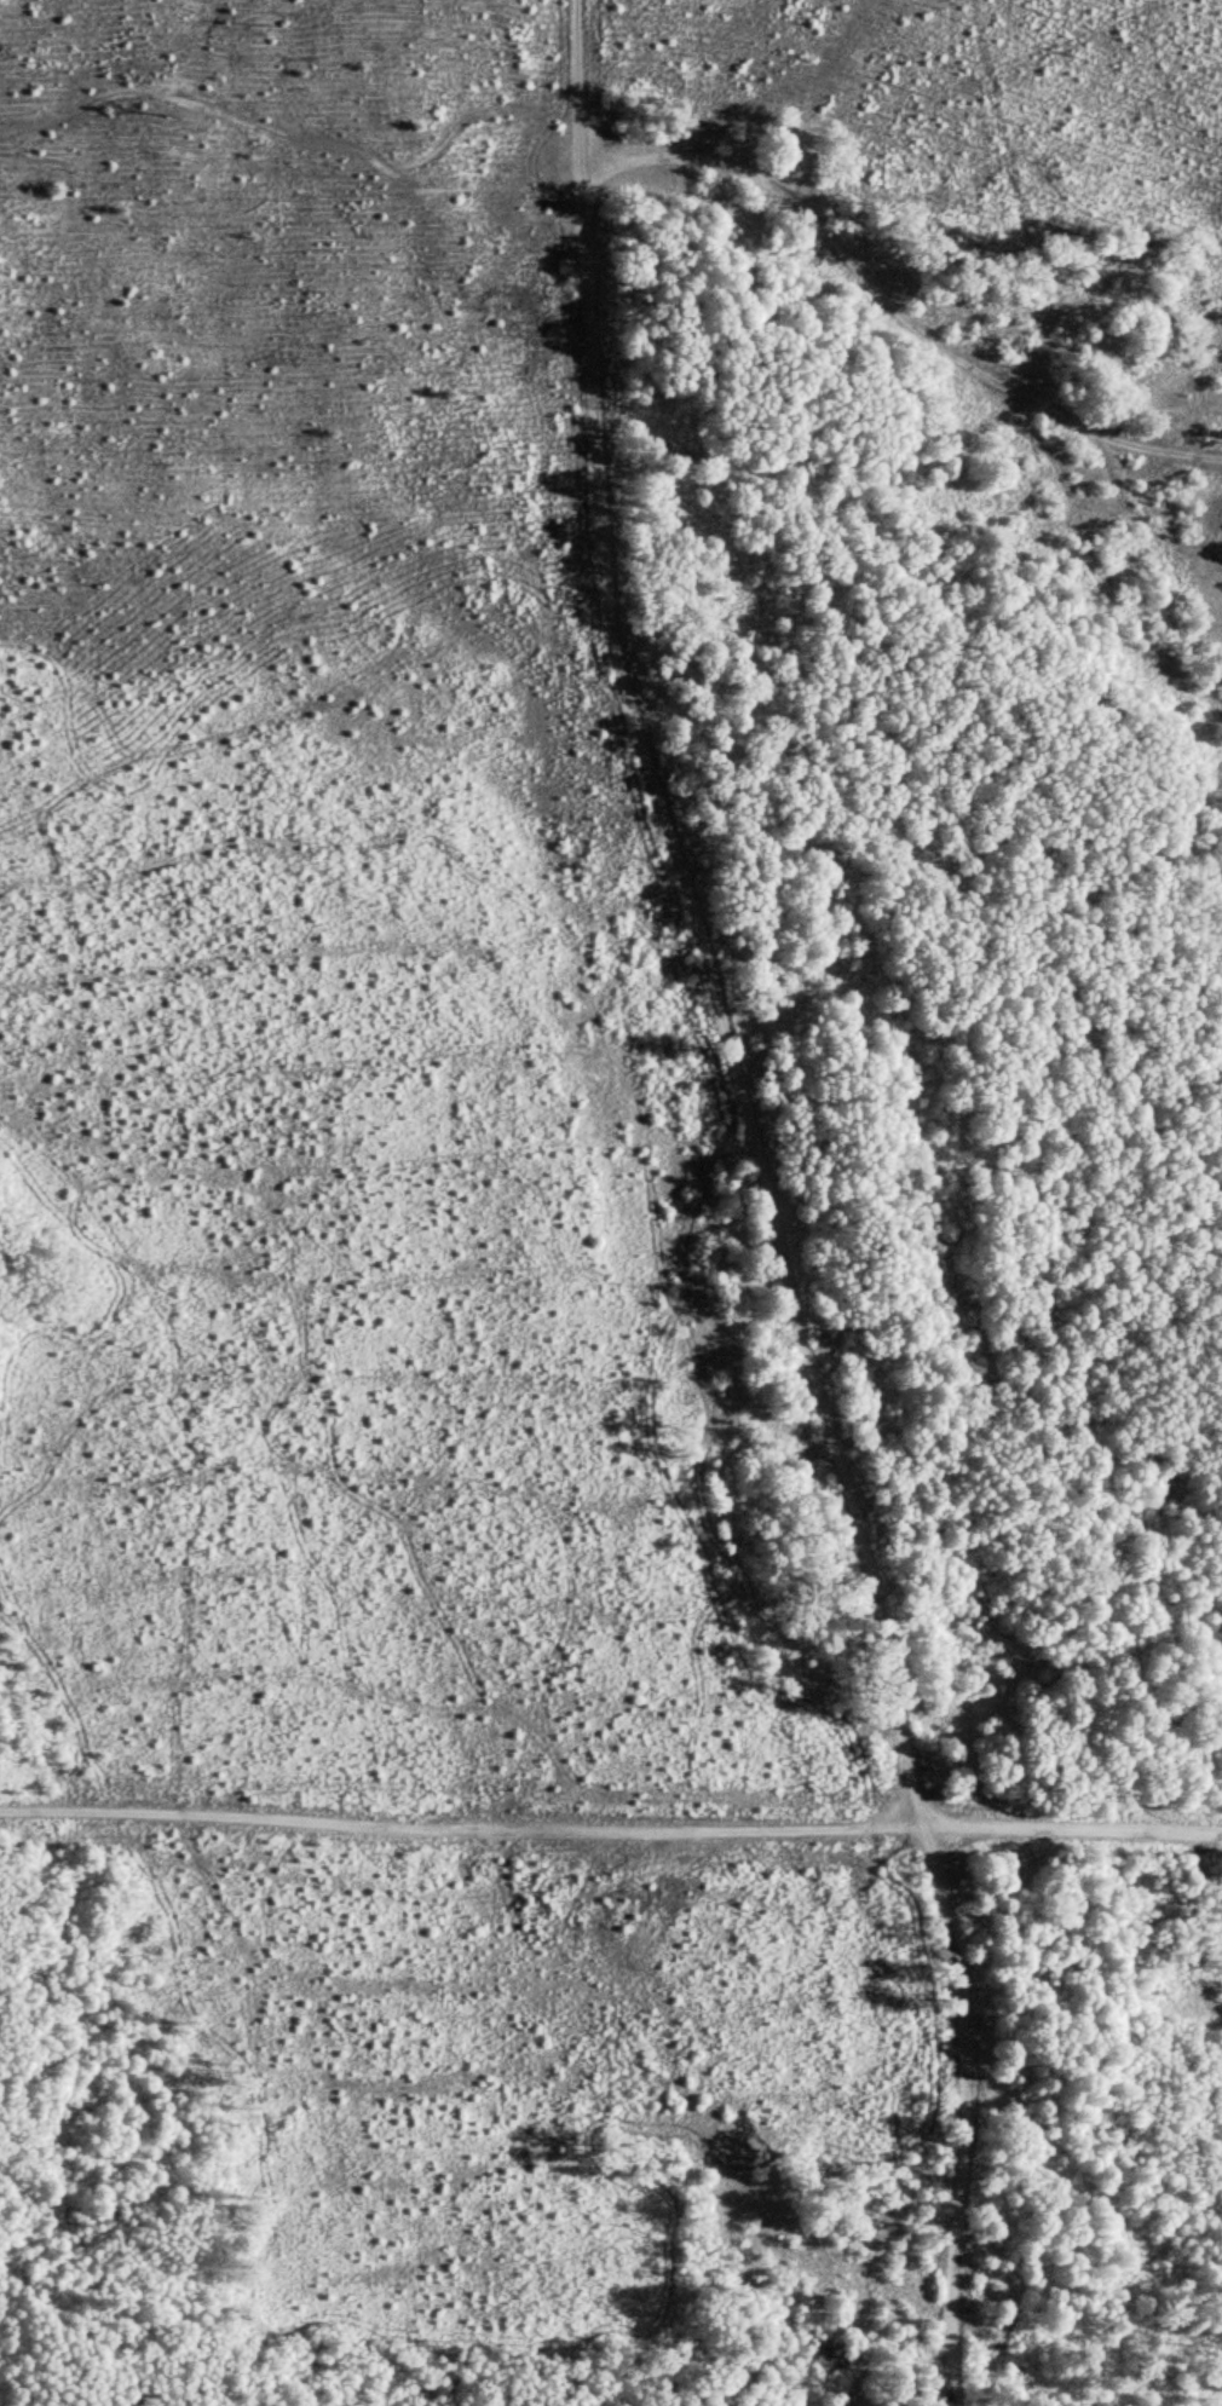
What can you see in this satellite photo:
road: (774, 1202)
road: (610, 1836)

